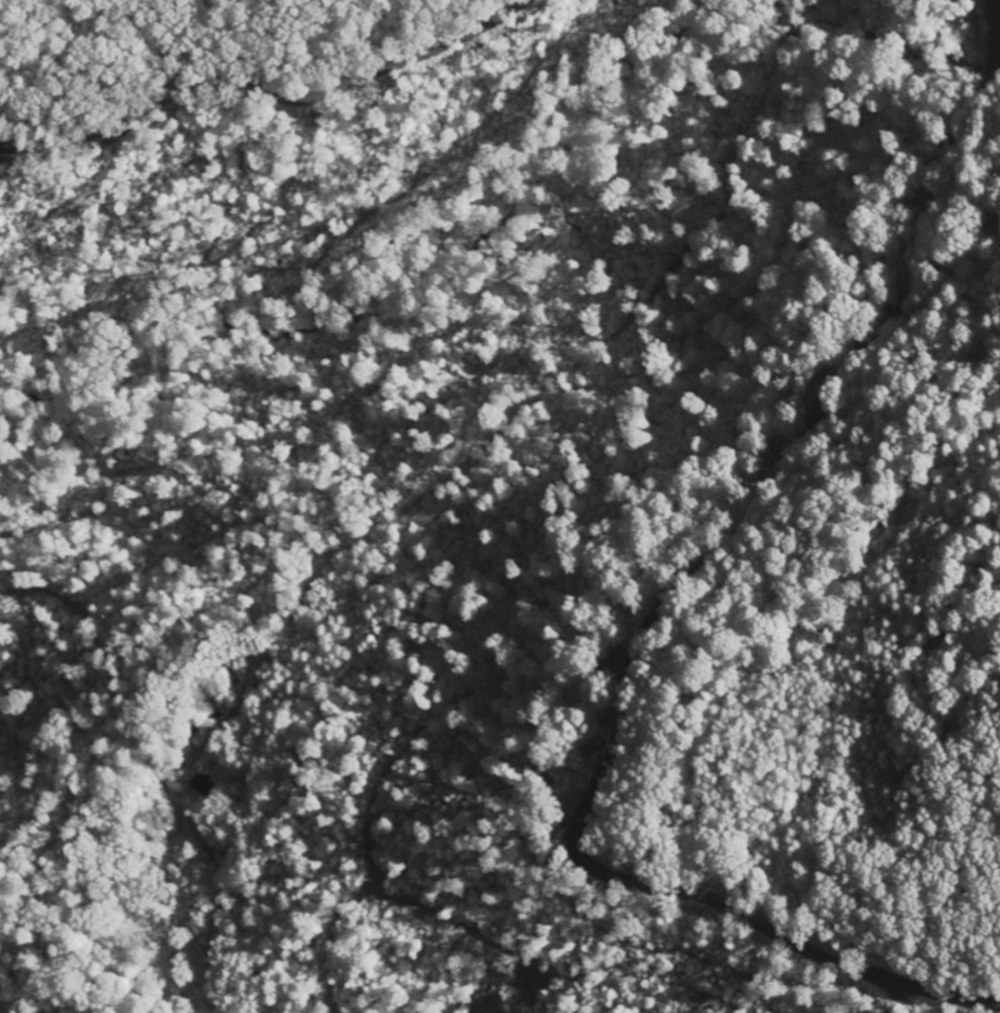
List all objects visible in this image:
road: (266, 91)
road: (660, 606)

